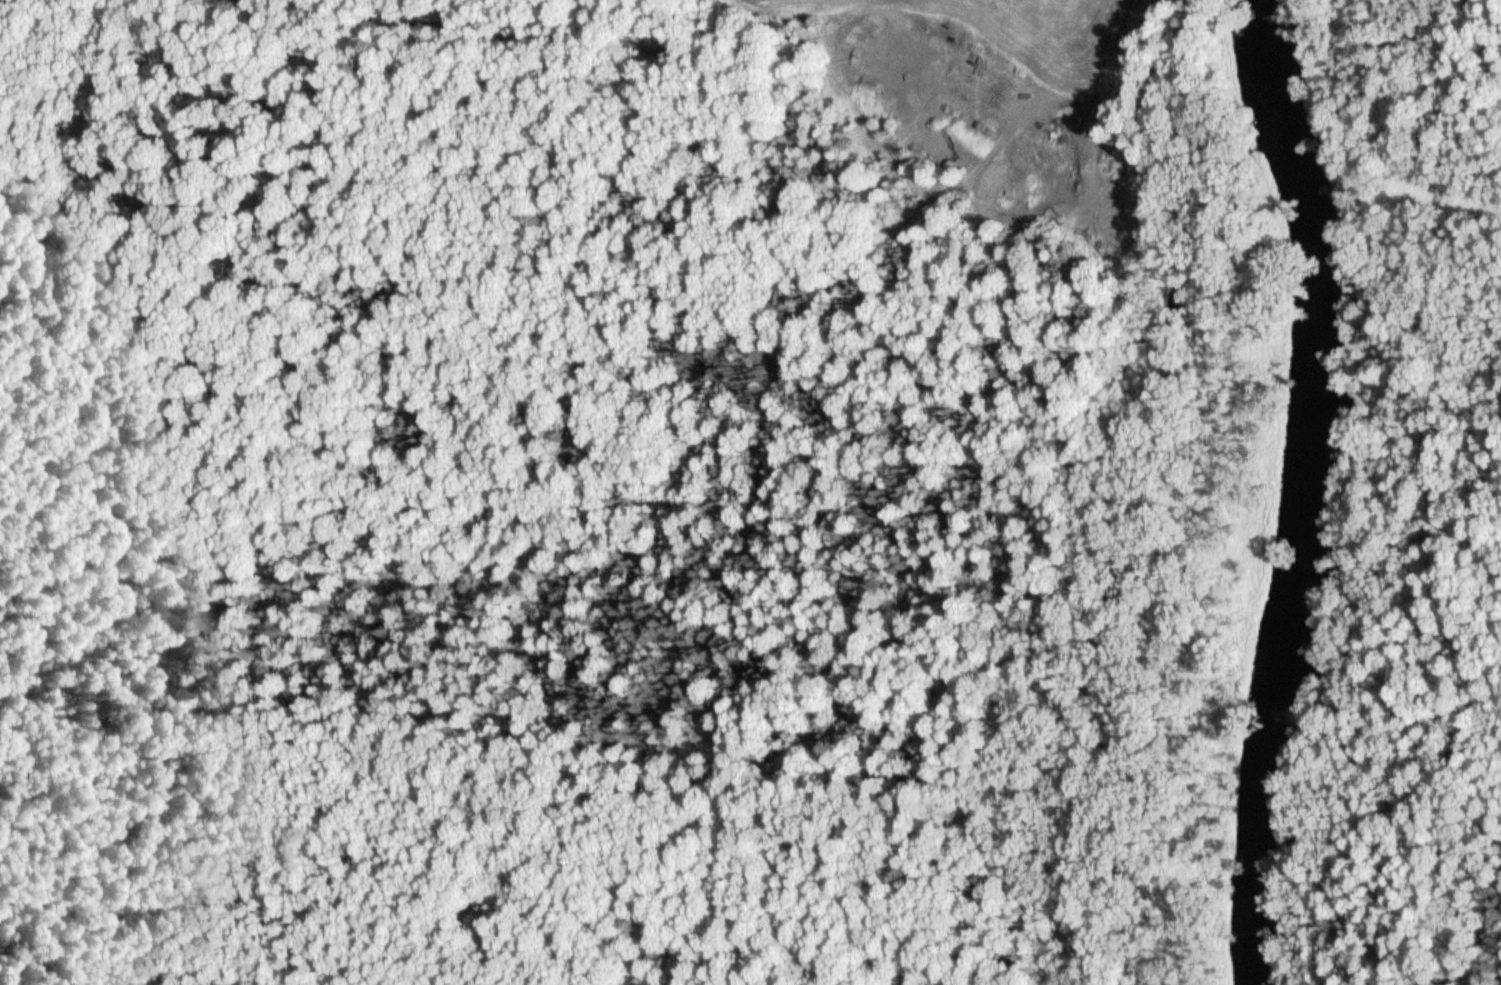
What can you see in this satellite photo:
river: (1296, 488)

